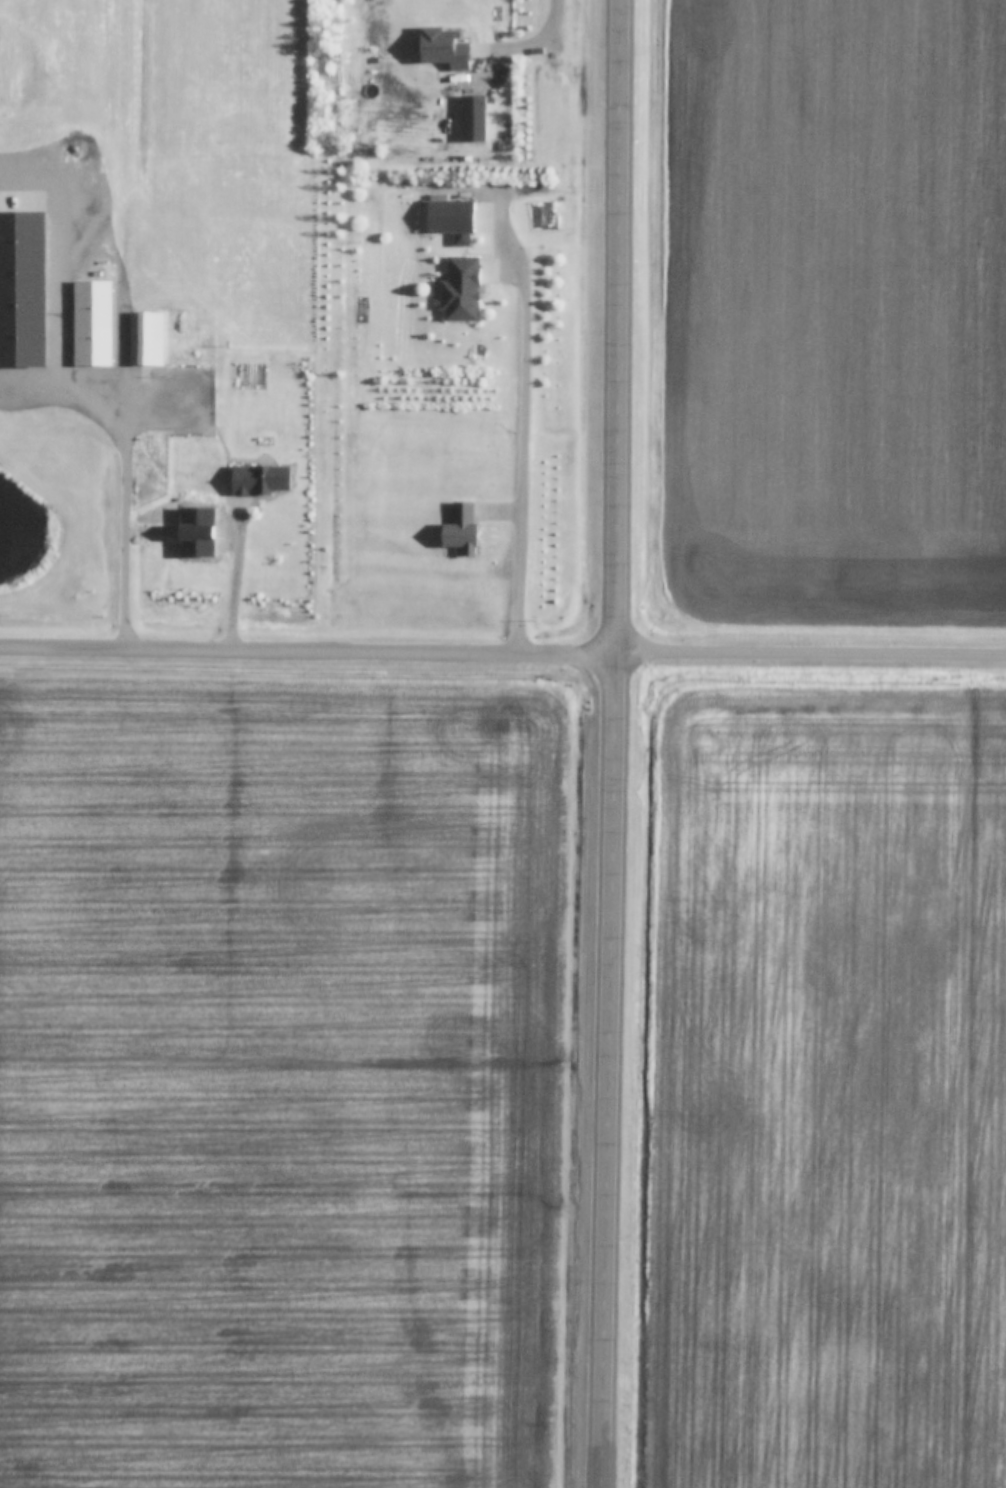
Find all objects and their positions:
road: (527, 43)
building: (445, 48)
building: (474, 119)
building: (546, 216)
building: (454, 220)
building: (24, 290)
building: (462, 290)
building: (93, 324)
building: (147, 340)
road: (83, 392)
road: (526, 448)
building: (262, 479)
building: (463, 529)
road: (240, 583)
road: (502, 651)
road: (613, 743)

